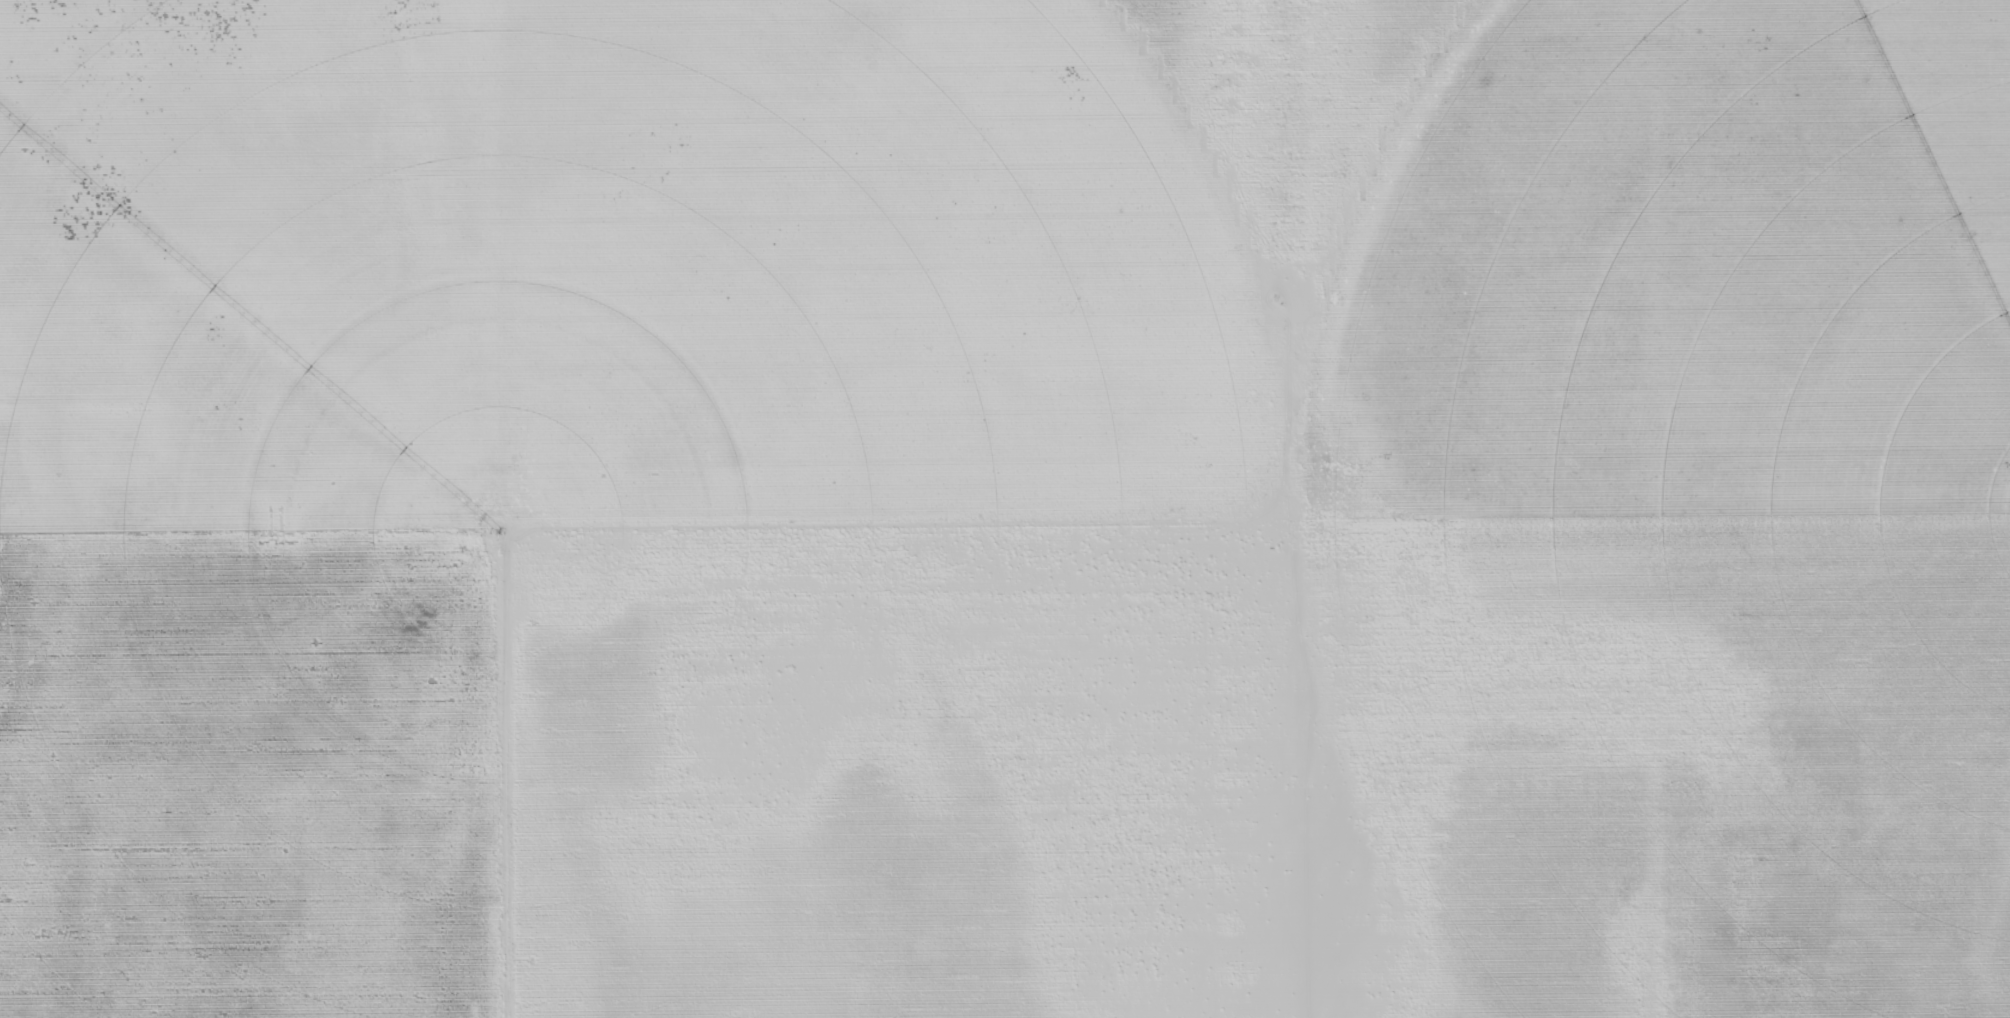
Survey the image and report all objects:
road: (103, 397)
road: (1883, 980)
road: (1986, 994)
road: (47, 1006)

